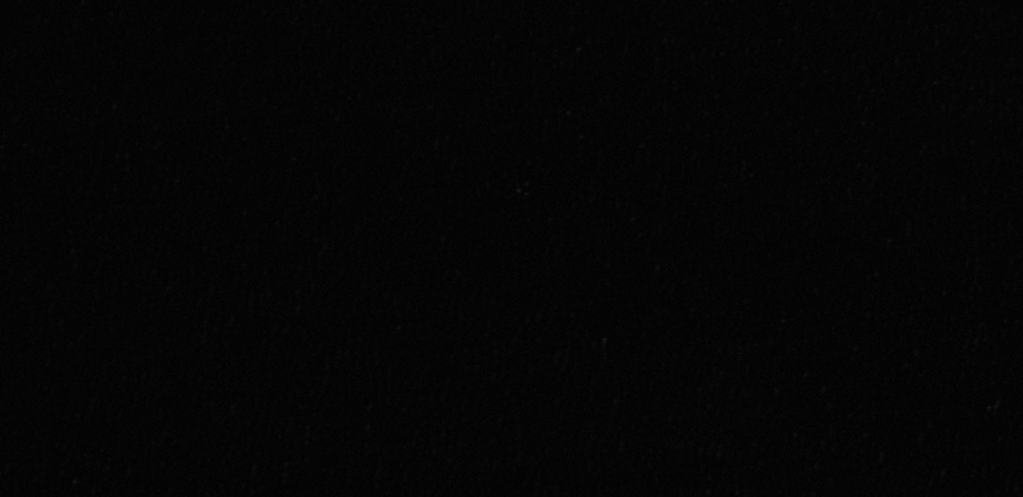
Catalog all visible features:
river: (201, 365)

